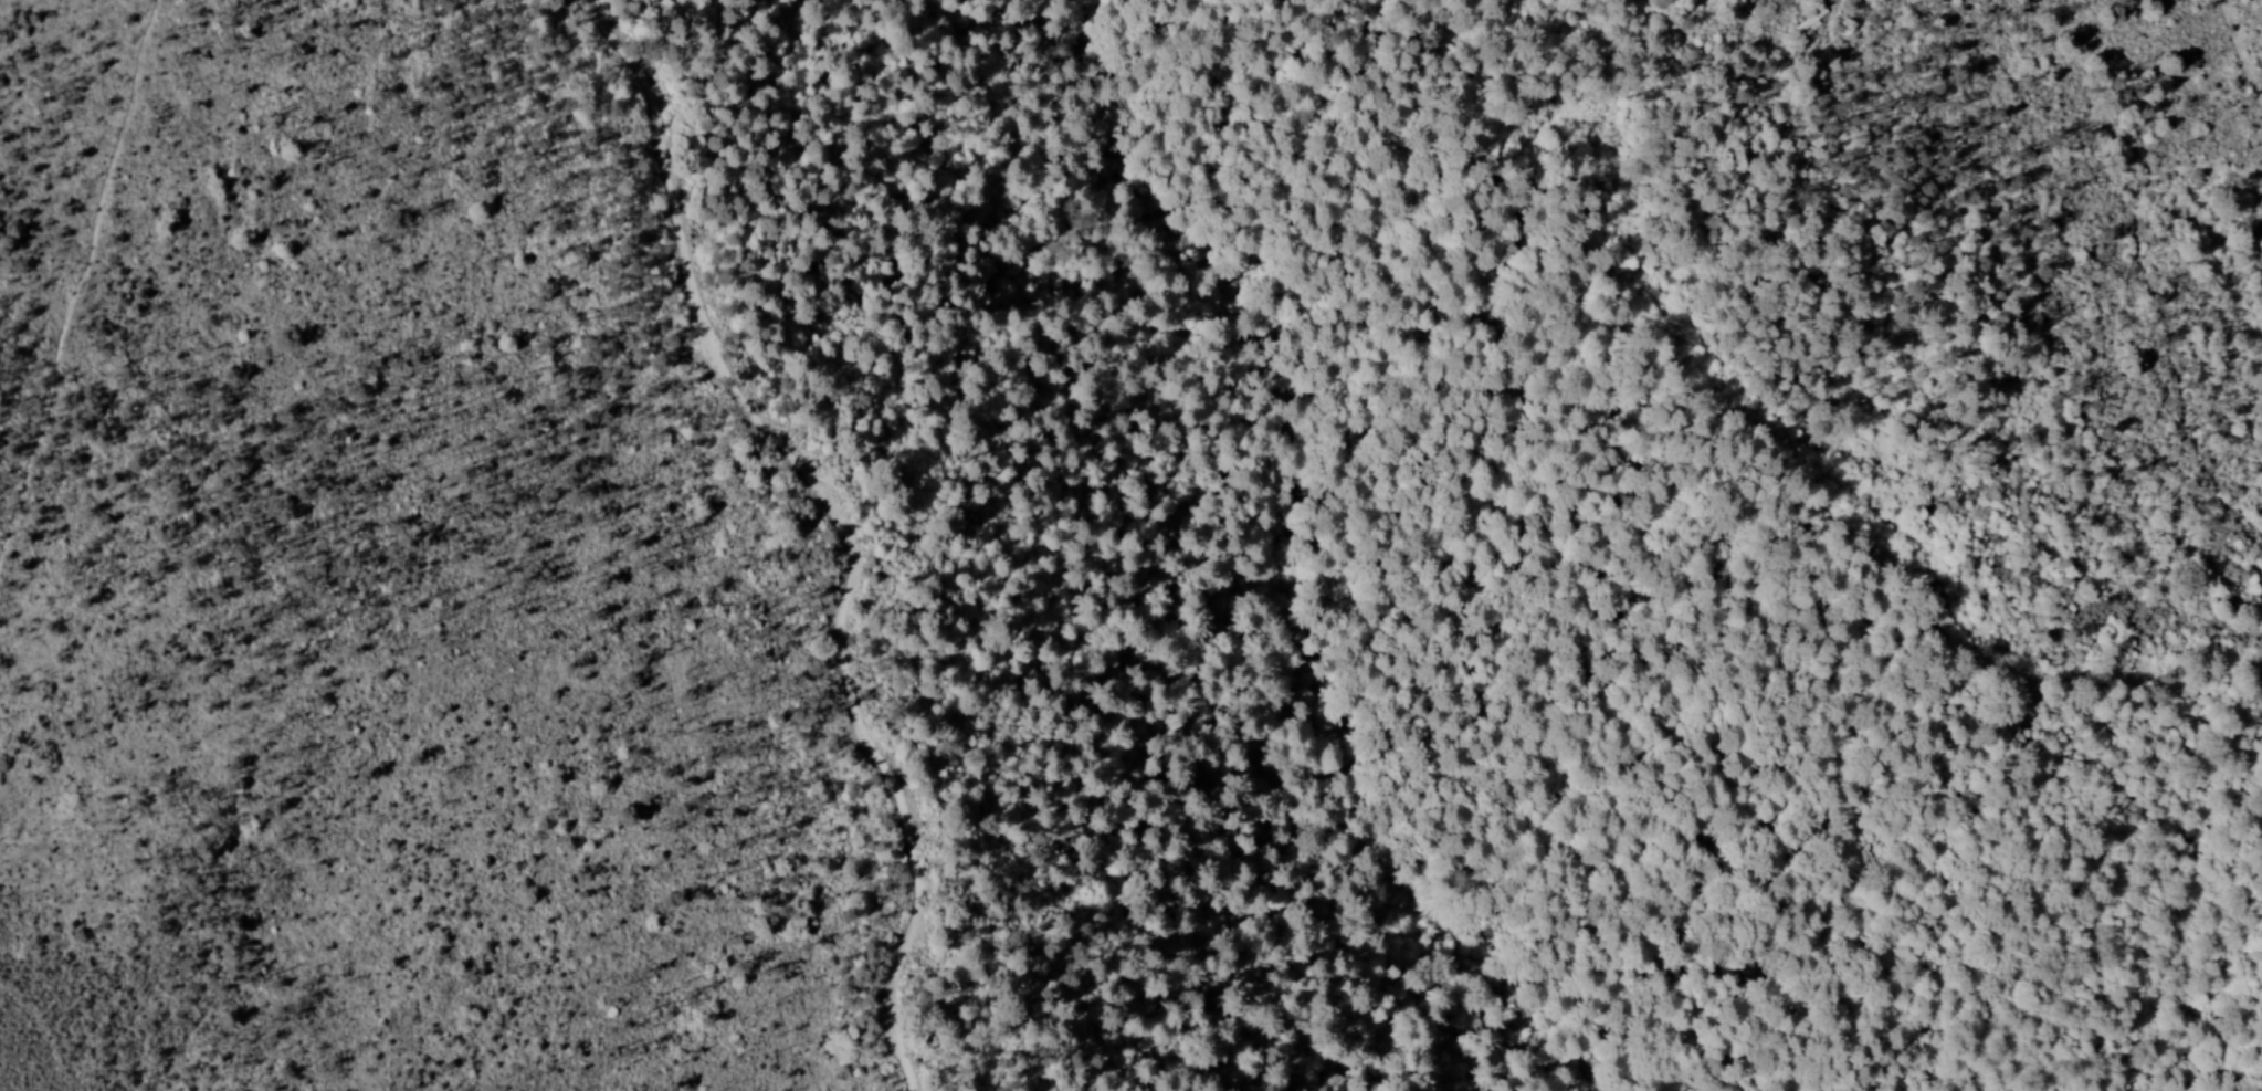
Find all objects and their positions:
road: (2238, 55)
road: (2168, 325)
road: (820, 522)
road: (2111, 655)

